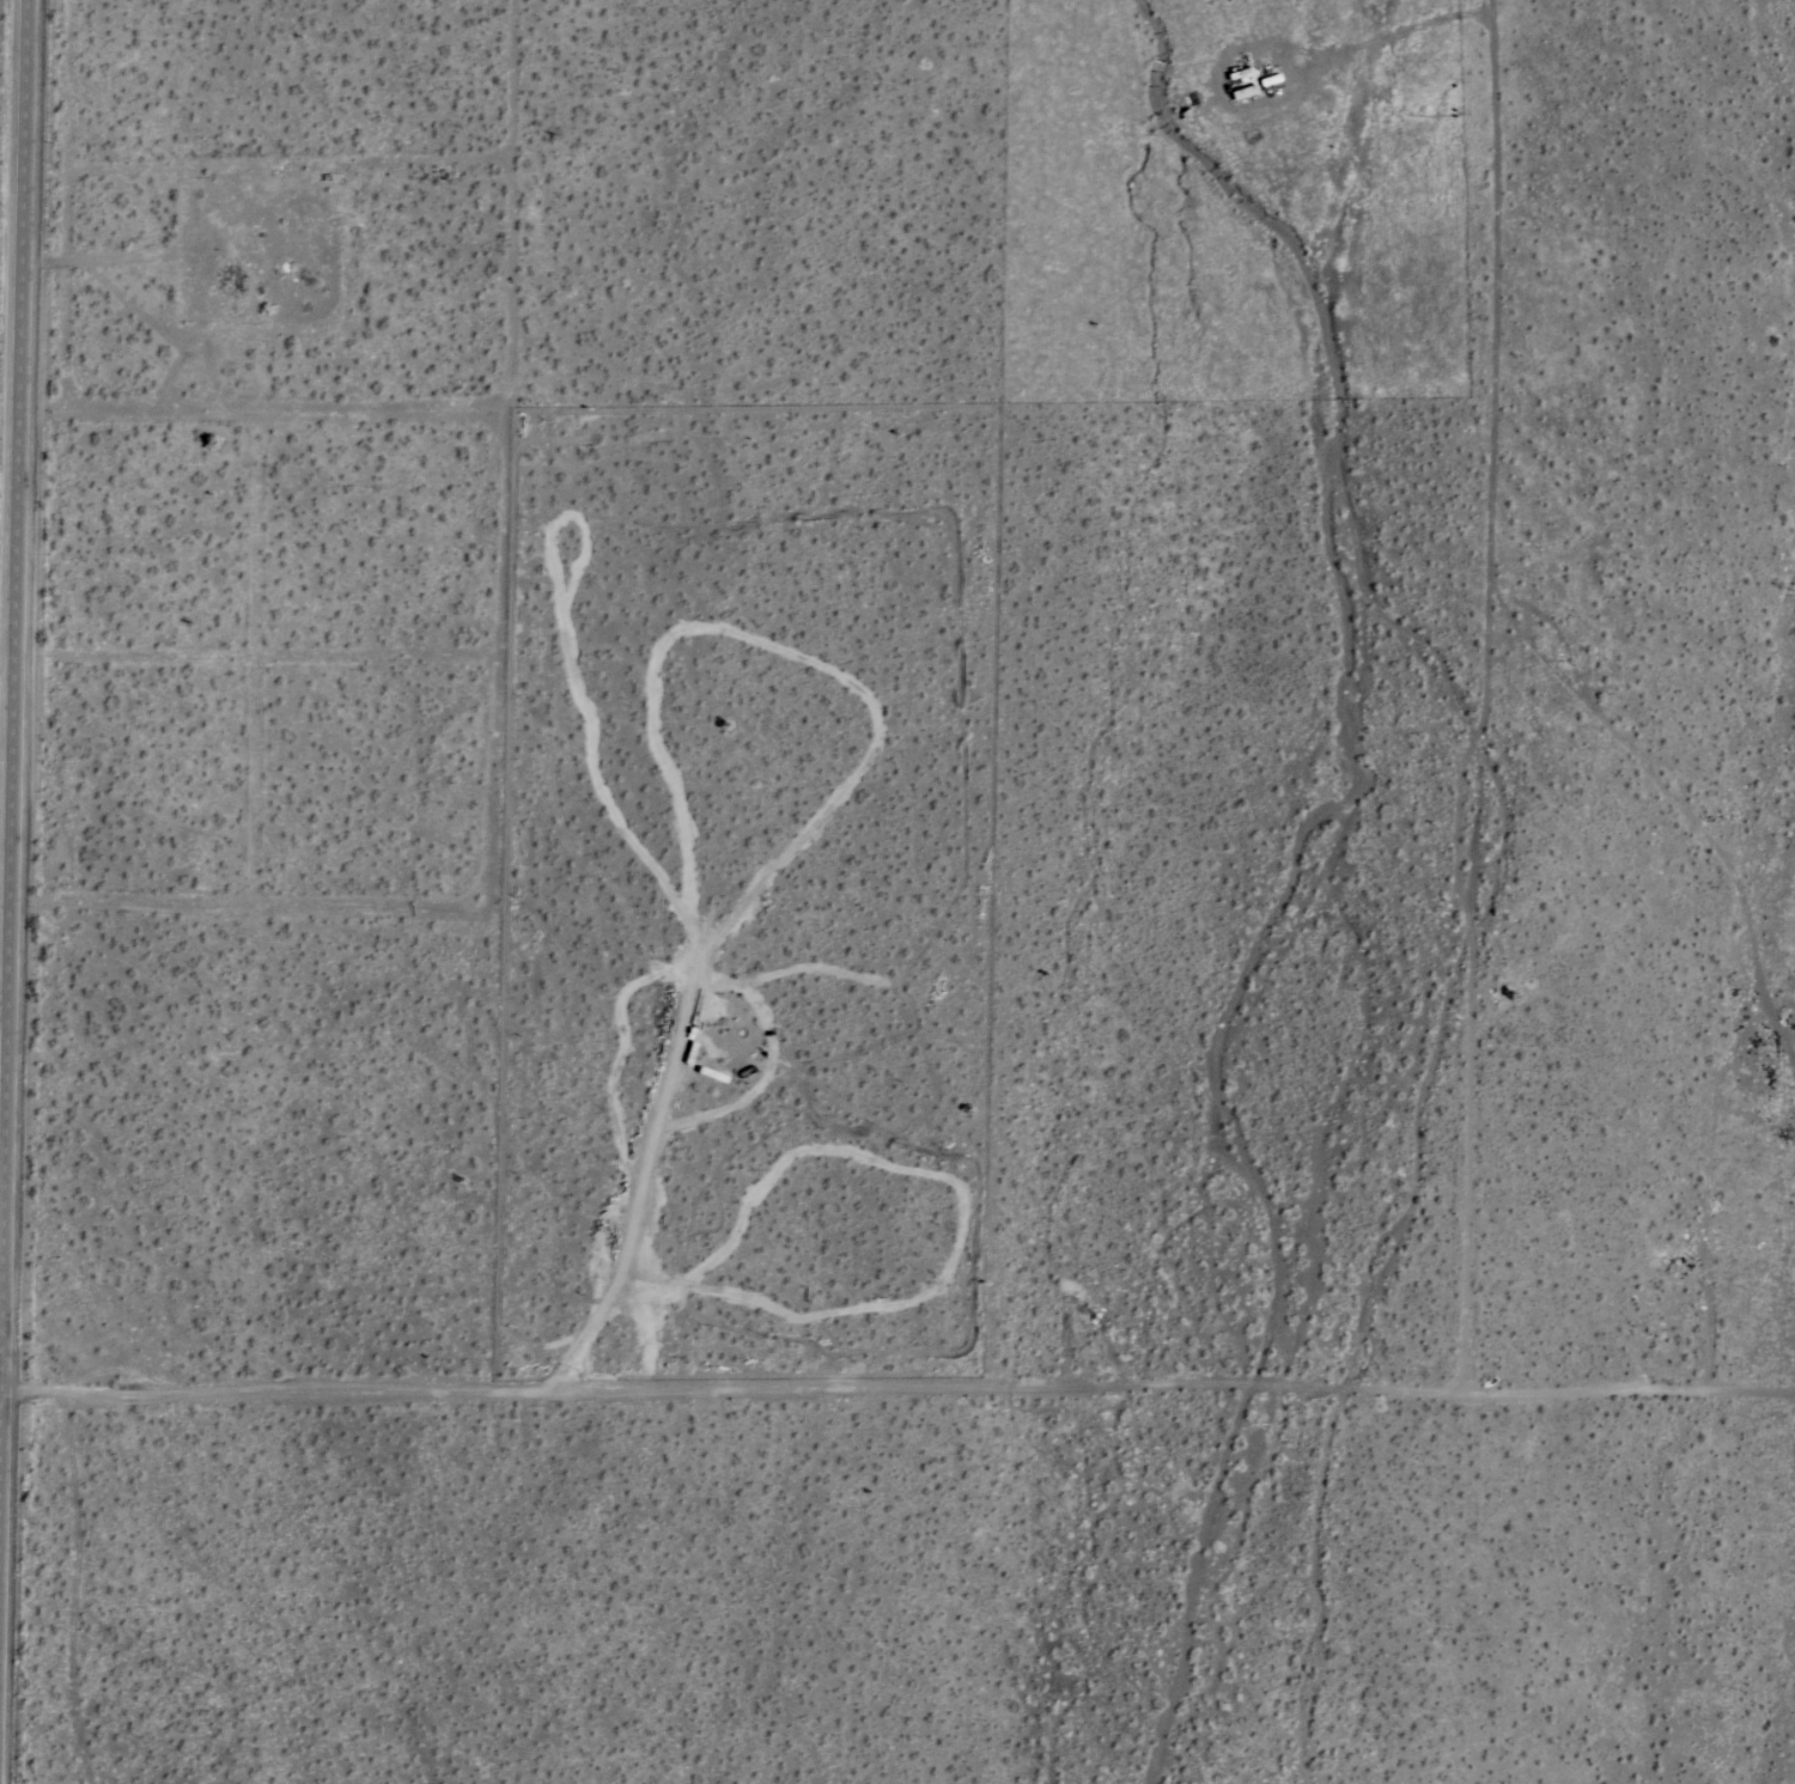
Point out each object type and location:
road: (1490, 7)
road: (1393, 34)
road: (12, 505)
road: (4, 650)
road: (898, 1390)

